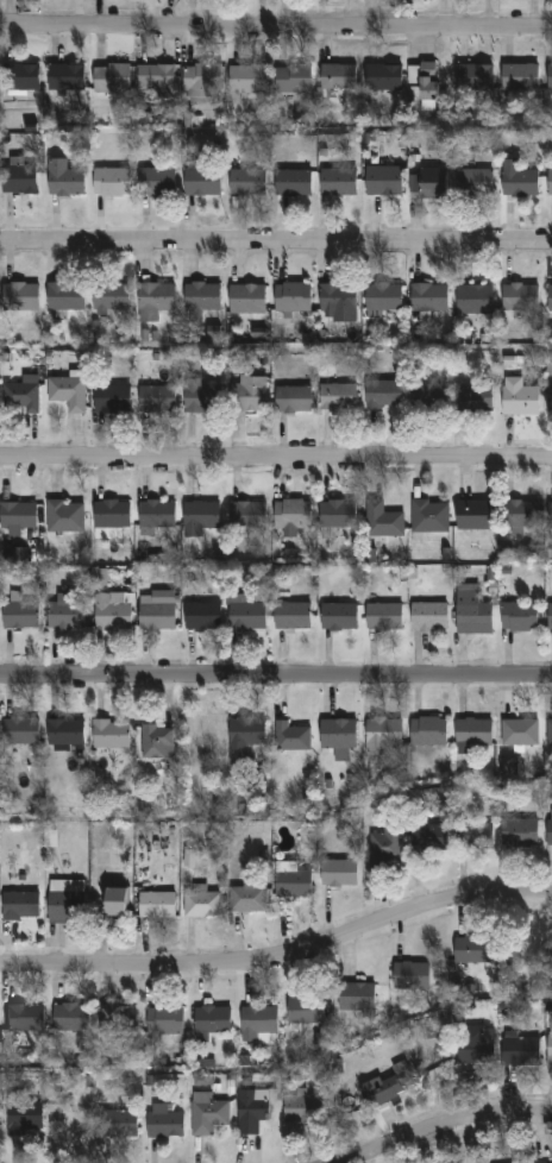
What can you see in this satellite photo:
road: (276, 26)
building: (19, 77)
building: (337, 77)
building: (64, 78)
building: (111, 78)
building: (473, 78)
building: (521, 78)
building: (551, 78)
building: (155, 80)
building: (293, 80)
building: (382, 80)
building: (202, 81)
building: (245, 81)
building: (427, 88)
building: (18, 180)
building: (63, 180)
building: (200, 181)
building: (111, 182)
building: (382, 182)
building: (550, 182)
building: (157, 183)
building: (247, 183)
building: (291, 183)
building: (338, 183)
building: (472, 183)
building: (429, 184)
building: (520, 184)
road: (276, 240)
building: (20, 296)
building: (64, 296)
building: (111, 297)
building: (291, 297)
building: (550, 297)
building: (382, 298)
building: (427, 298)
building: (519, 298)
building: (246, 300)
building: (337, 300)
building: (473, 300)
building: (155, 301)
building: (200, 302)
building: (247, 394)
building: (68, 395)
building: (382, 395)
building: (21, 396)
building: (428, 397)
building: (202, 398)
building: (338, 398)
building: (519, 398)
building: (111, 400)
building: (473, 400)
building: (157, 401)
building: (293, 401)
building: (550, 401)
road: (276, 461)
building: (112, 515)
building: (291, 515)
building: (523, 515)
building: (550, 515)
building: (156, 516)
building: (247, 516)
building: (473, 516)
building: (18, 517)
building: (64, 517)
building: (334, 517)
building: (429, 517)
building: (199, 518)
building: (382, 521)
building: (471, 612)
building: (112, 614)
building: (67, 615)
building: (19, 616)
building: (155, 616)
building: (293, 616)
building: (247, 617)
building: (340, 617)
building: (384, 617)
building: (428, 617)
building: (519, 617)
building: (550, 617)
building: (202, 618)
road: (276, 675)
building: (19, 733)
building: (428, 733)
building: (550, 733)
building: (473, 734)
building: (519, 734)
building: (109, 735)
building: (338, 735)
building: (65, 736)
building: (383, 737)
building: (290, 738)
building: (244, 740)
building: (156, 742)
building: (509, 767)
building: (519, 834)
building: (548, 834)
building: (475, 837)
building: (428, 838)
building: (385, 850)
building: (189, 859)
building: (338, 874)
building: (294, 886)
building: (247, 899)
building: (113, 903)
building: (65, 904)
building: (201, 905)
building: (157, 906)
building: (19, 907)
building: (510, 949)
building: (472, 950)
road: (280, 958)
building: (410, 976)
building: (356, 997)
building: (305, 1010)
building: (70, 1018)
building: (25, 1019)
building: (117, 1019)
building: (212, 1020)
building: (164, 1021)
building: (258, 1021)
building: (475, 1045)
building: (519, 1050)
building: (550, 1051)
building: (385, 1087)
building: (302, 1109)
building: (250, 1111)
building: (207, 1114)
building: (24, 1117)
building: (163, 1123)
building: (115, 1125)
road: (450, 1127)

